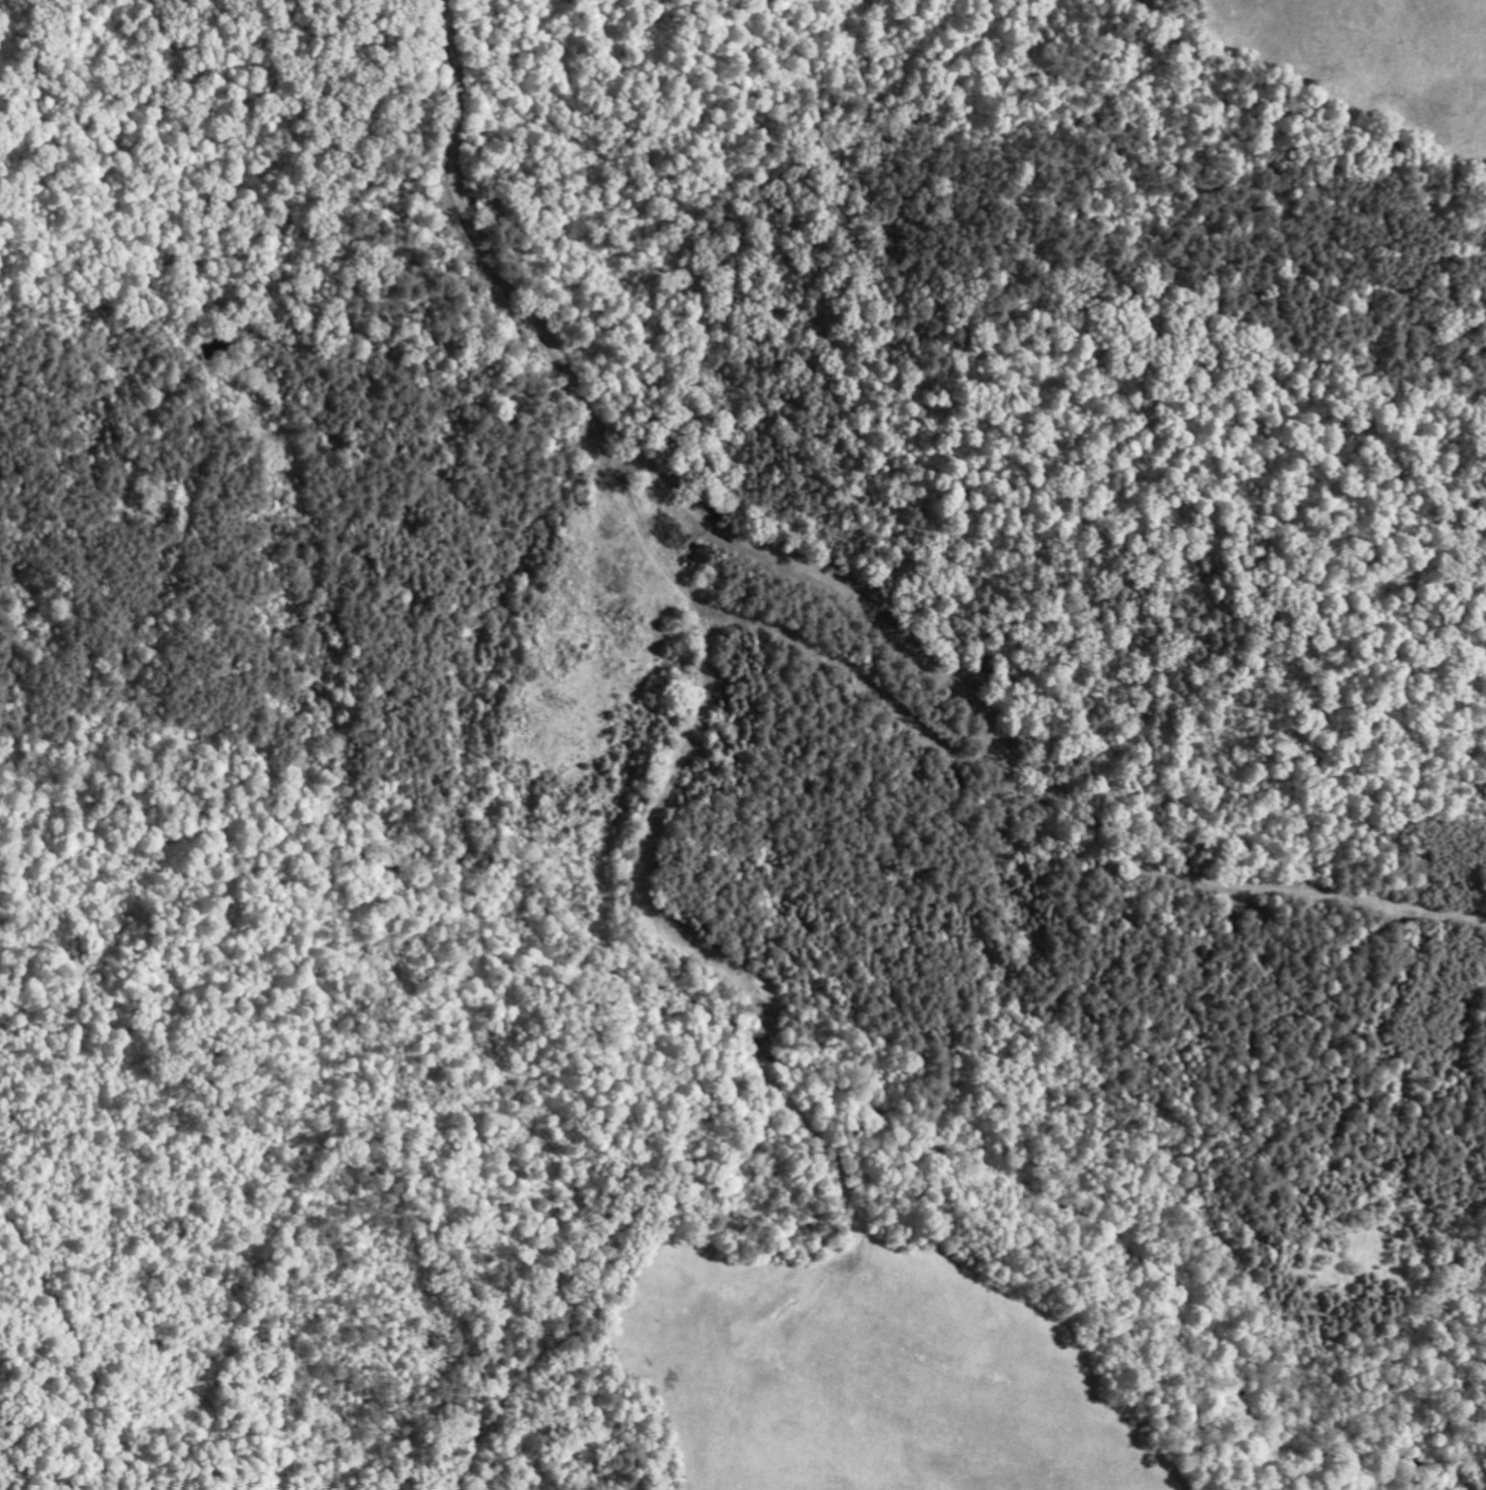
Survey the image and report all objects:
road: (477, 267)

